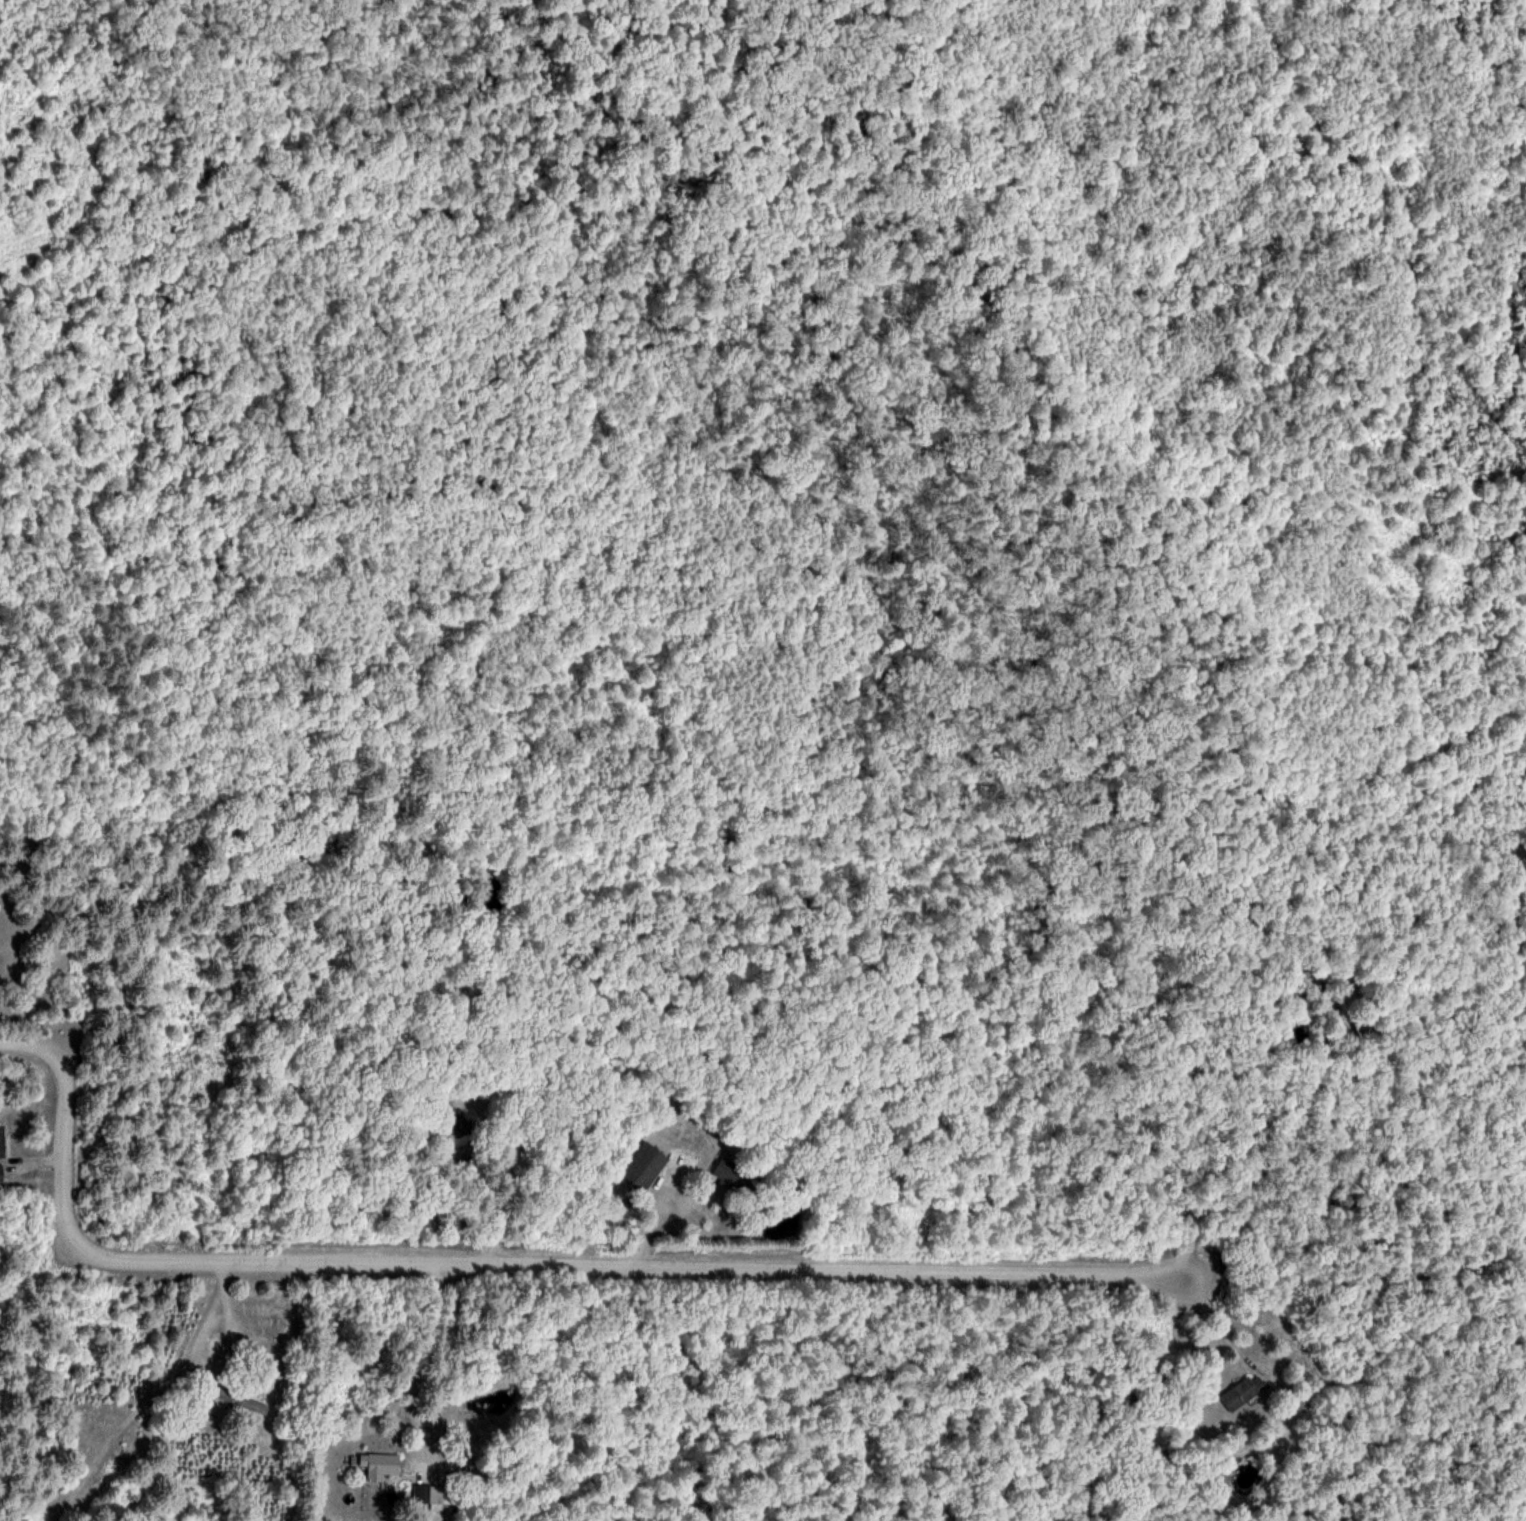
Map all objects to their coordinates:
building: (1, 1140)
building: (643, 1165)
building: (1, 1173)
road: (512, 1265)
building: (201, 1329)
road: (418, 1365)
building: (1242, 1391)
building: (240, 1400)
building: (378, 1464)
building: (426, 1493)

